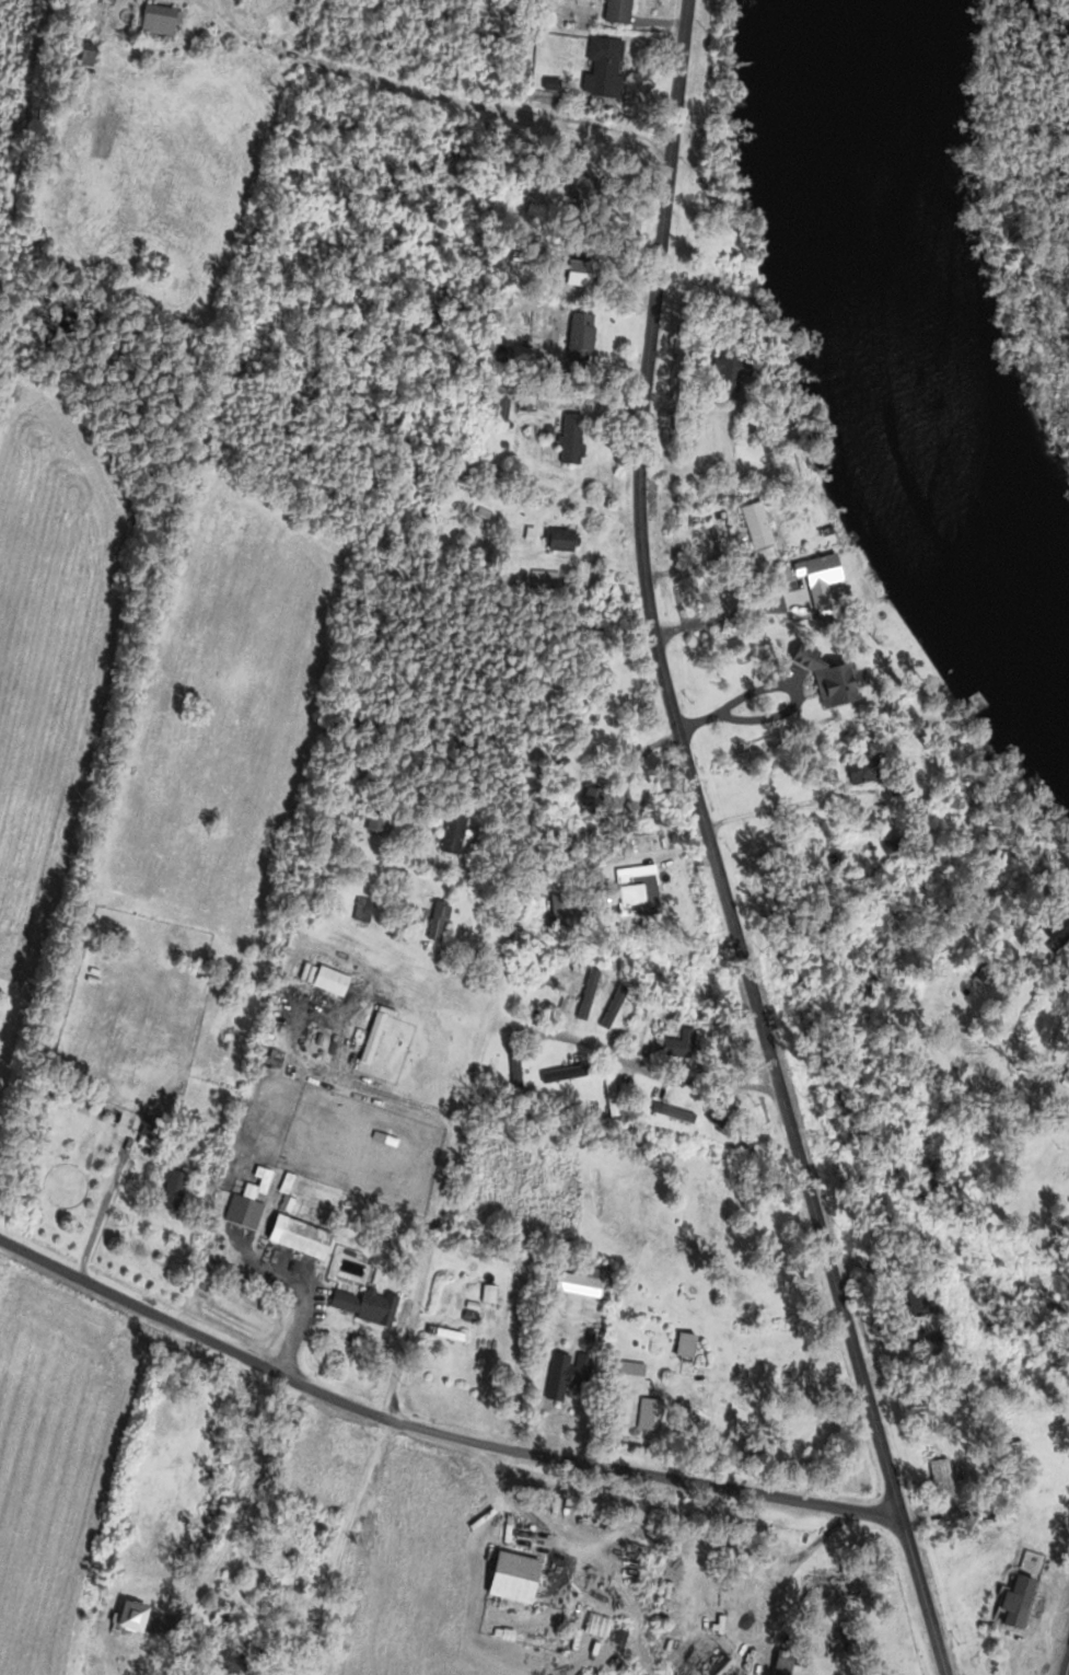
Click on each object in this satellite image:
building: (613, 12)
building: (161, 19)
building: (90, 54)
building: (601, 69)
road: (433, 93)
building: (571, 274)
building: (578, 338)
river: (895, 358)
building: (727, 368)
road: (326, 372)
building: (497, 406)
building: (569, 440)
building: (751, 521)
building: (558, 541)
road: (695, 563)
building: (542, 579)
building: (815, 580)
road: (728, 613)
road: (782, 684)
building: (876, 773)
building: (589, 800)
building: (372, 823)
building: (450, 835)
road: (710, 847)
building: (360, 911)
building: (556, 912)
building: (434, 923)
building: (1055, 929)
road: (501, 967)
building: (583, 997)
building: (611, 1008)
building: (233, 1017)
road: (628, 1062)
building: (1066, 1068)
building: (607, 1094)
building: (671, 1113)
building: (151, 1128)
building: (539, 1173)
building: (174, 1188)
building: (239, 1210)
road: (98, 1222)
building: (294, 1237)
building: (576, 1287)
building: (363, 1306)
road: (190, 1331)
building: (442, 1335)
building: (563, 1375)
building: (635, 1375)
road: (640, 1472)
building: (938, 1480)
building: (183, 1500)
building: (988, 1524)
road: (338, 1544)
building: (508, 1579)
building: (1013, 1602)
building: (593, 1627)
building: (779, 1662)
road: (1066, 1665)

